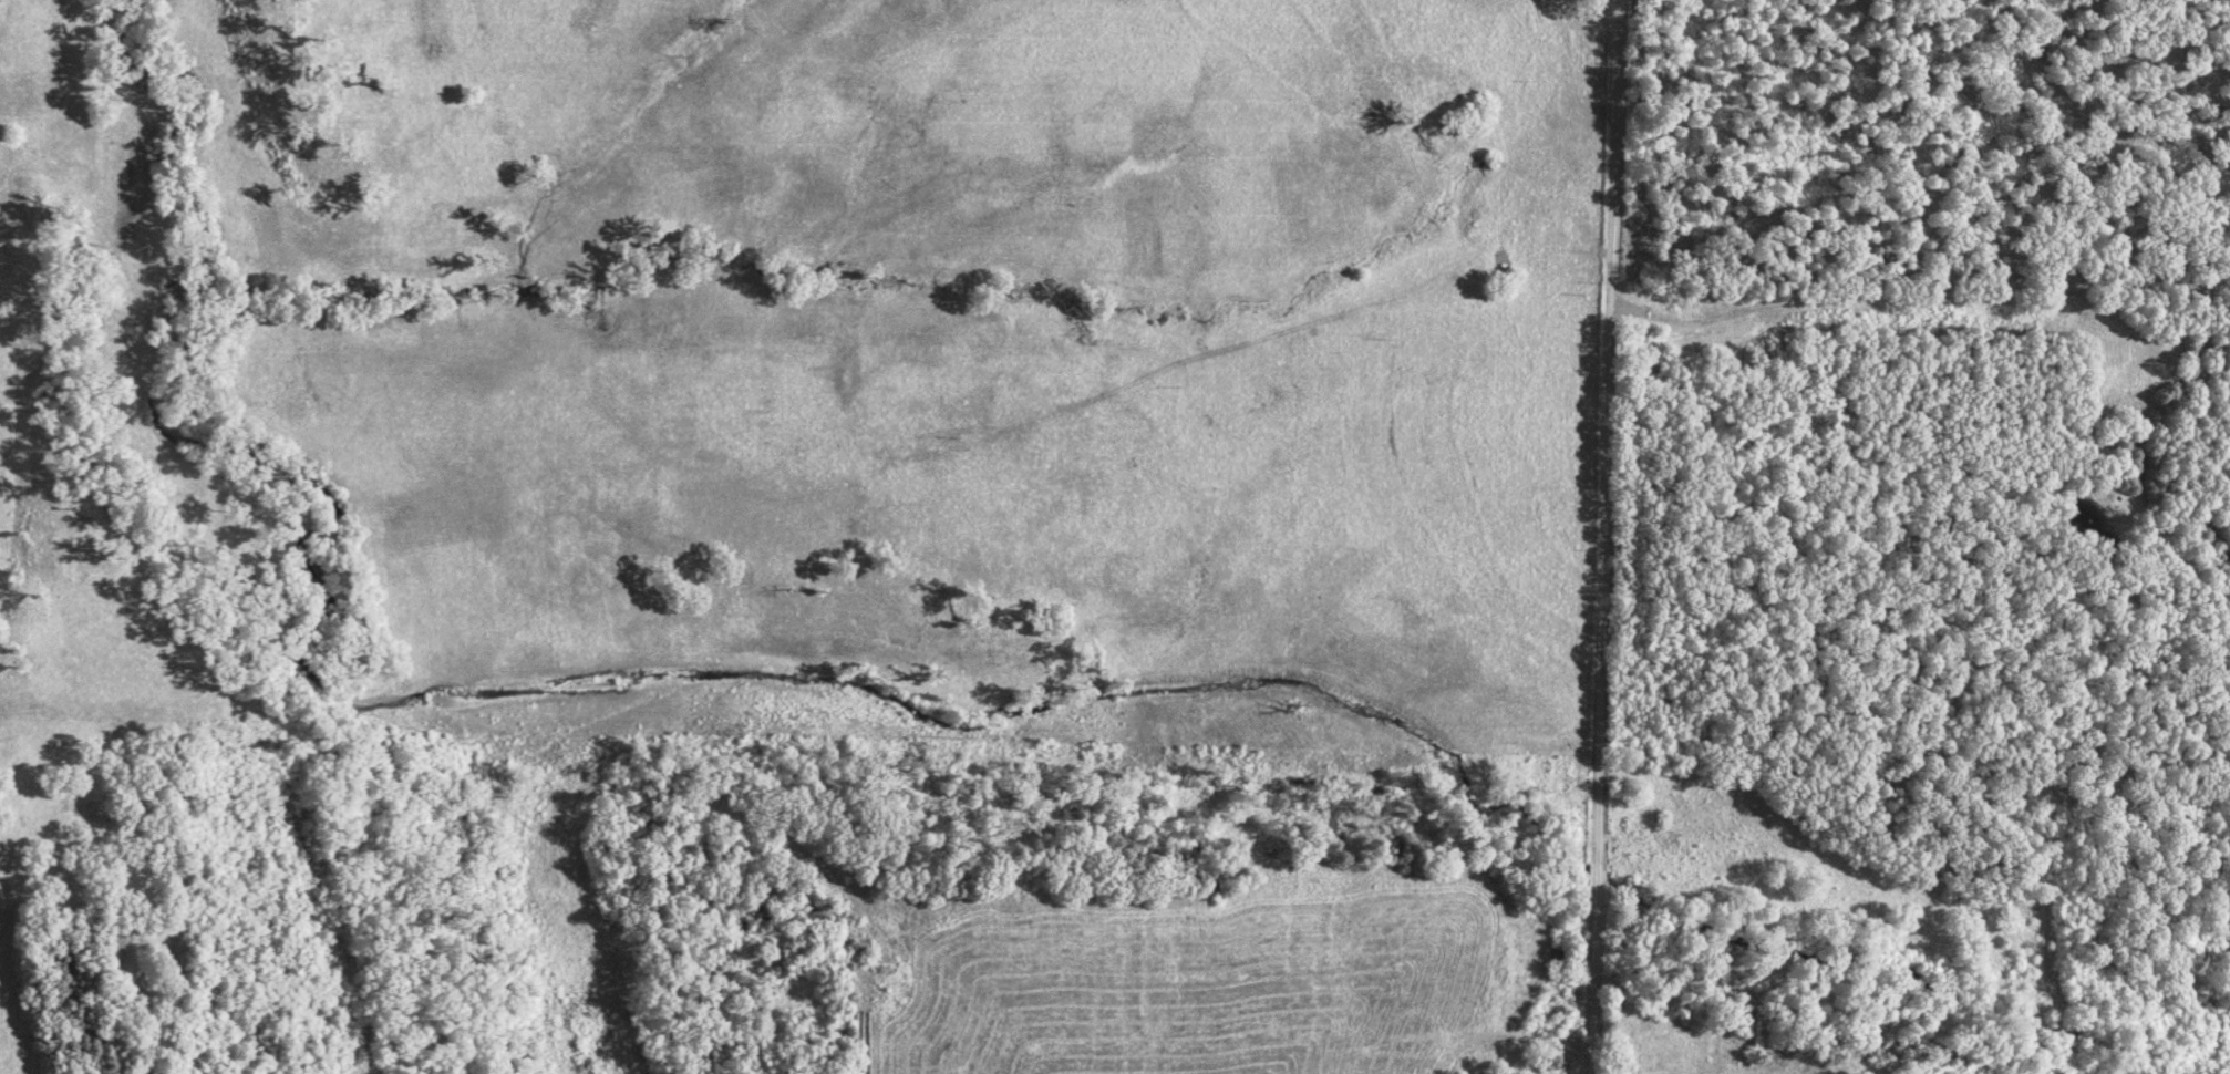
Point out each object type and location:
building: (1562, 161)
road: (1602, 537)
building: (1557, 960)

